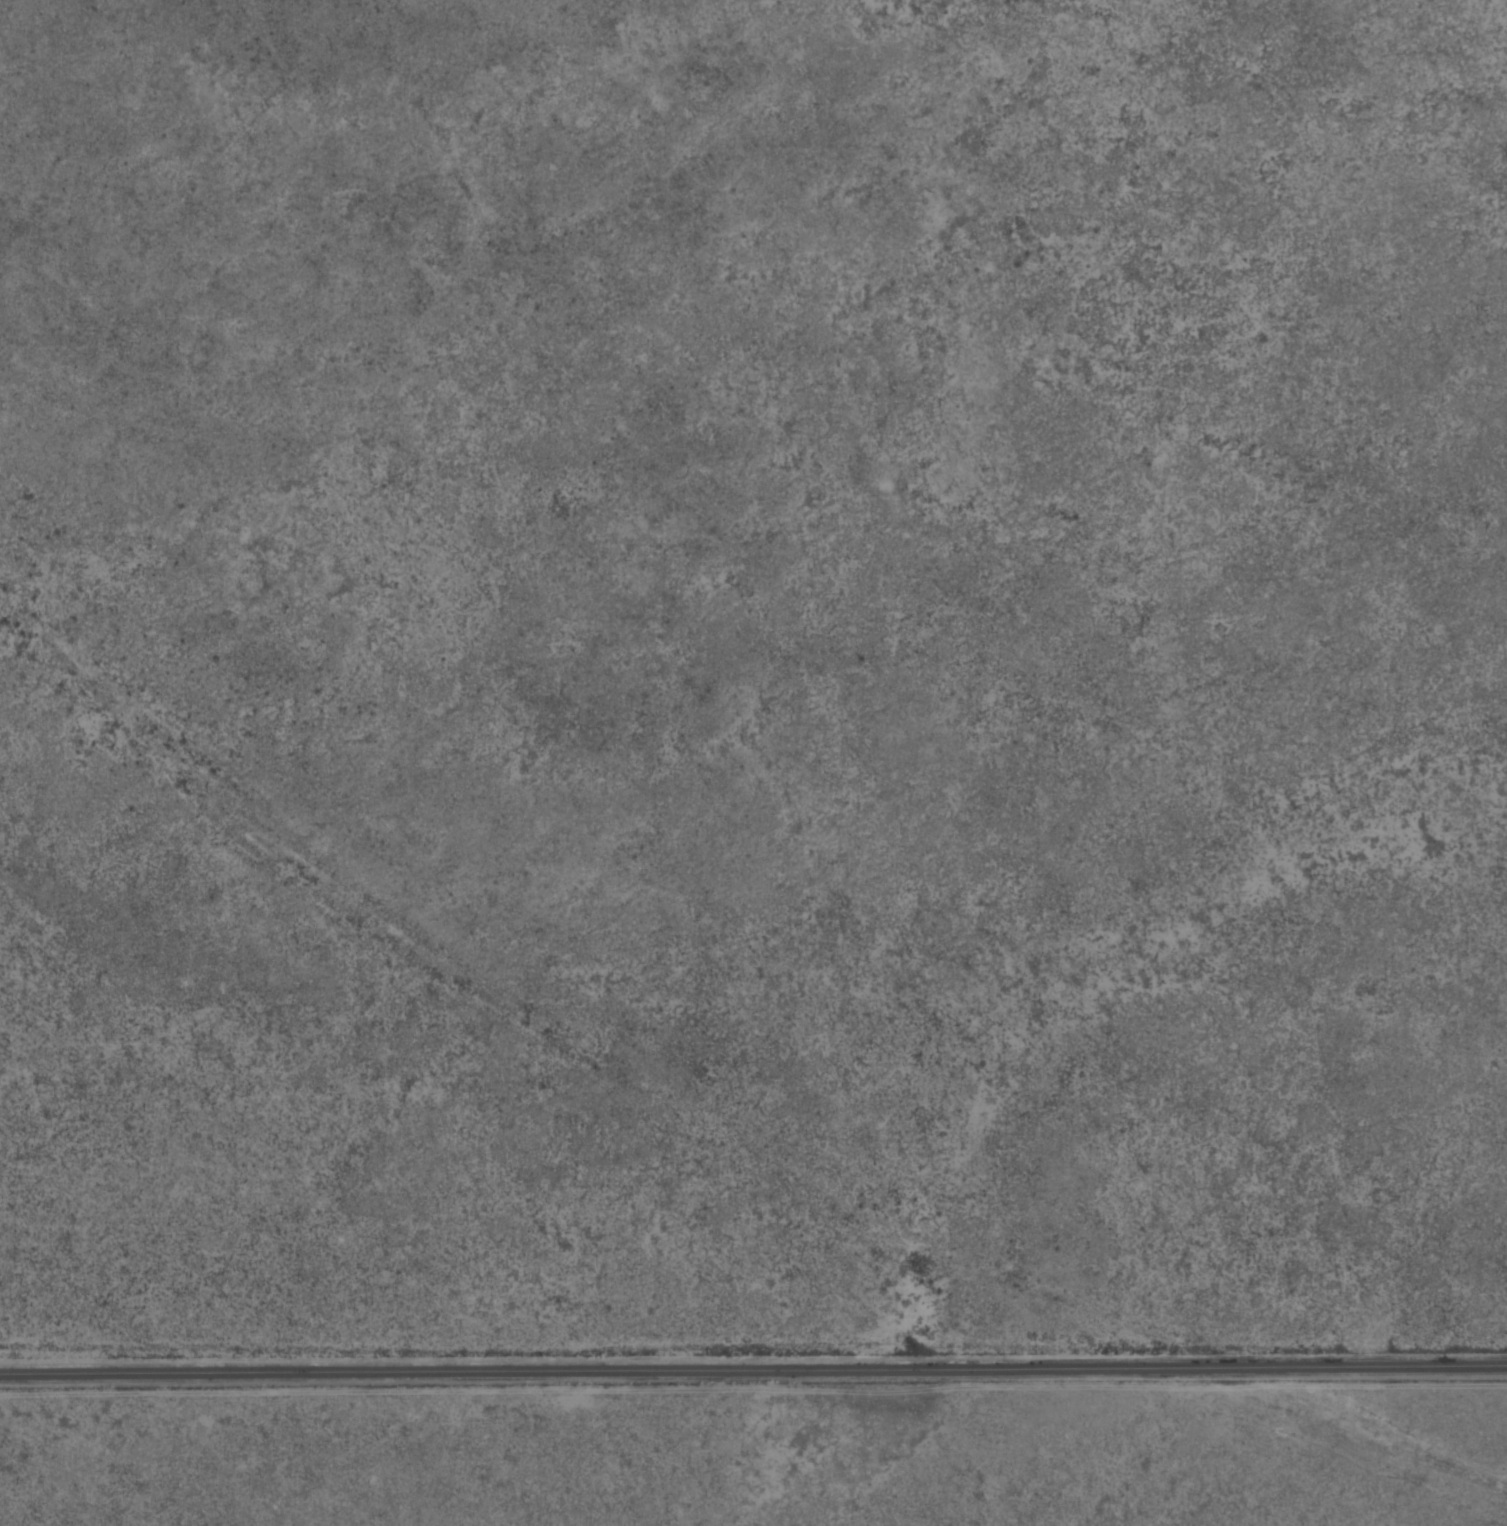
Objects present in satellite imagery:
road: (753, 1371)

